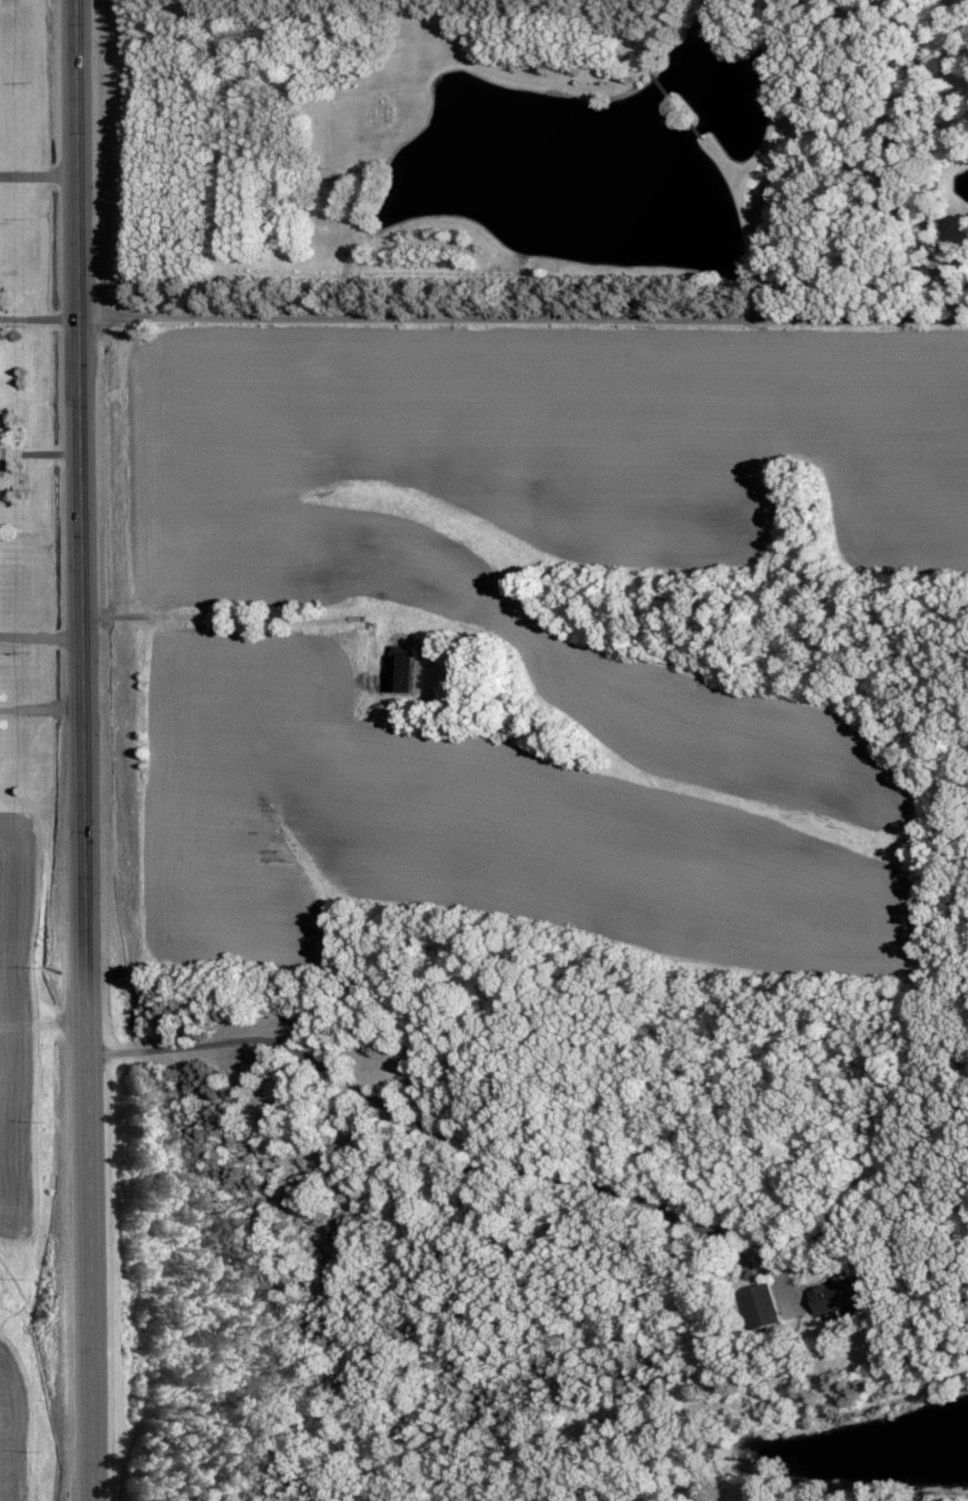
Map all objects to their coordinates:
road: (38, 175)
road: (523, 315)
road: (39, 318)
road: (40, 641)
building: (408, 671)
road: (41, 712)
road: (82, 750)
road: (443, 1137)
building: (841, 1294)
building: (765, 1305)

